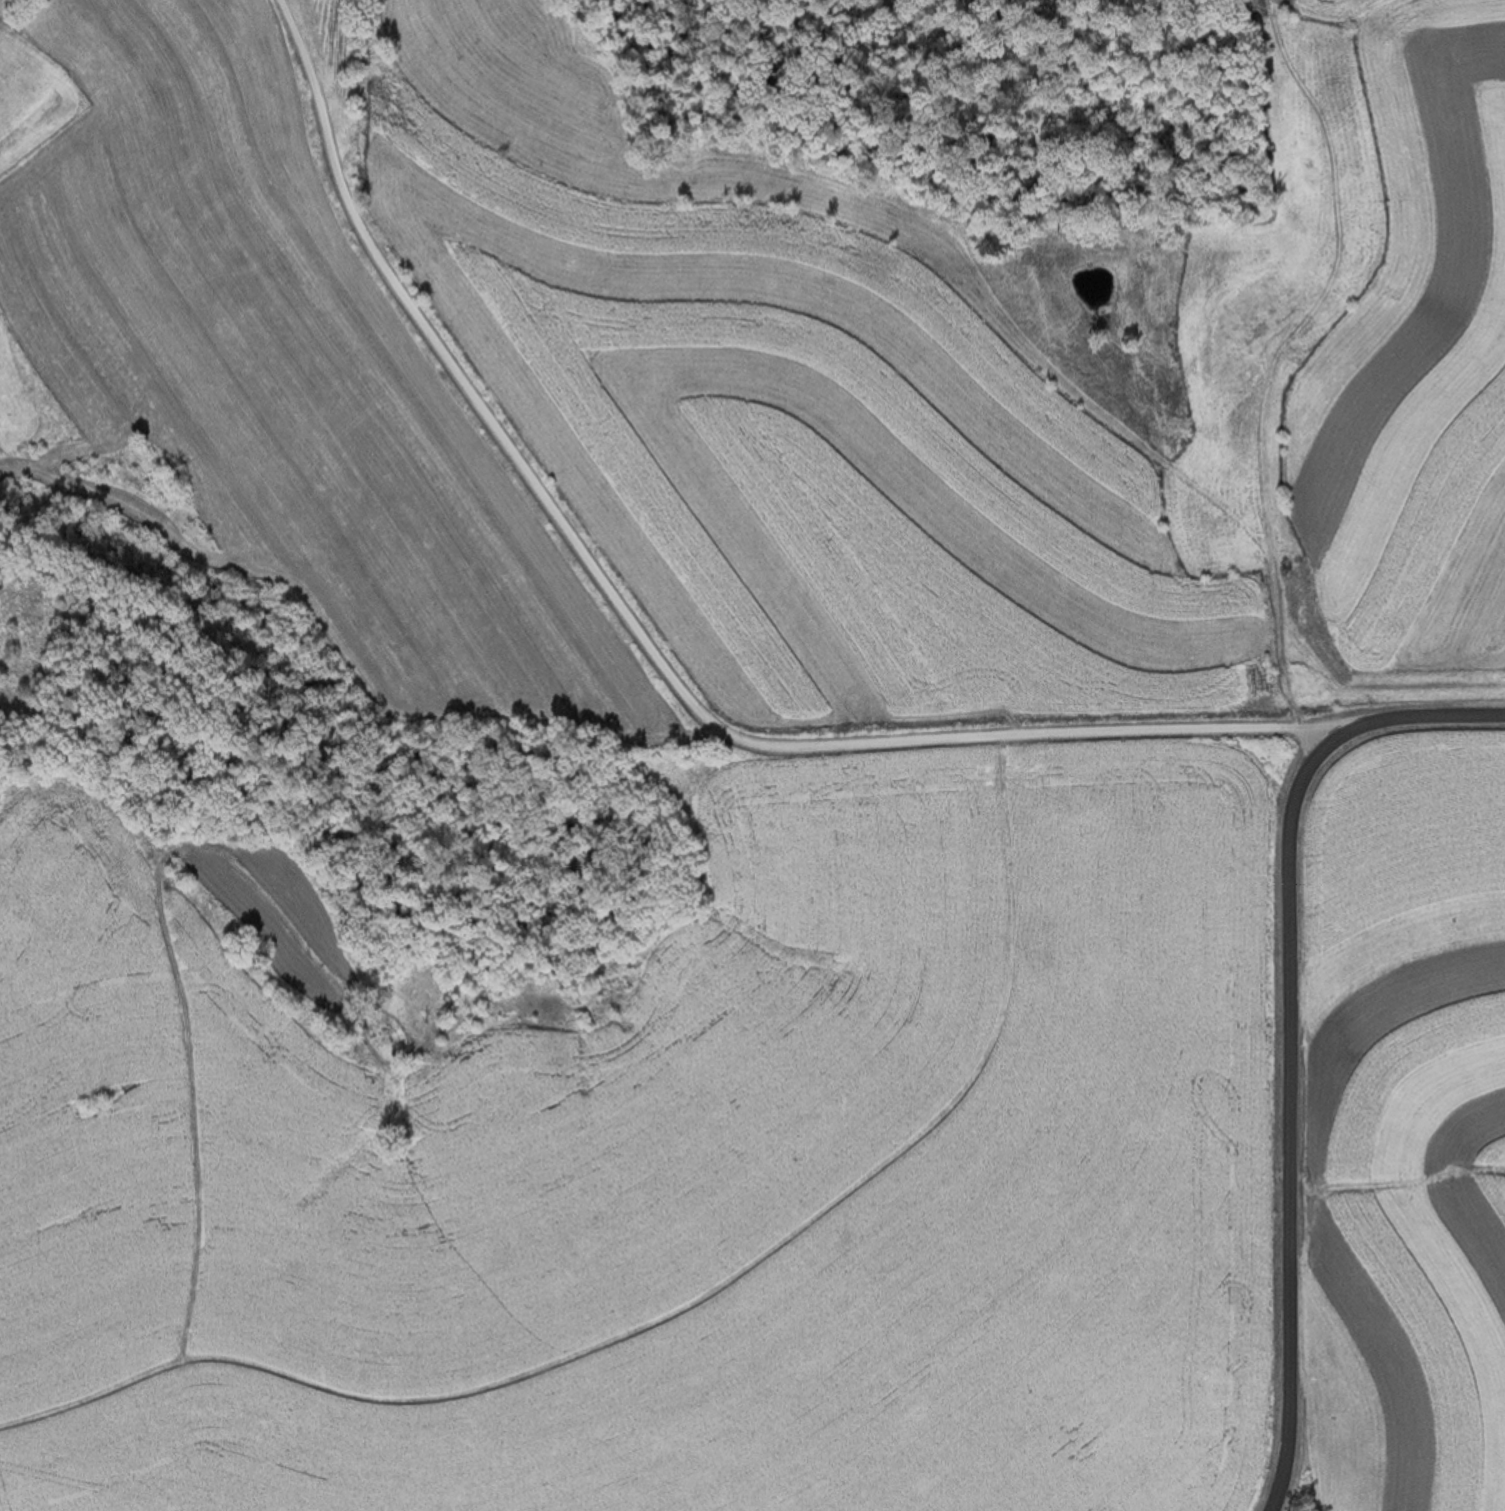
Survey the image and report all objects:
road: (642, 635)
road: (1415, 719)
road: (1288, 1120)

